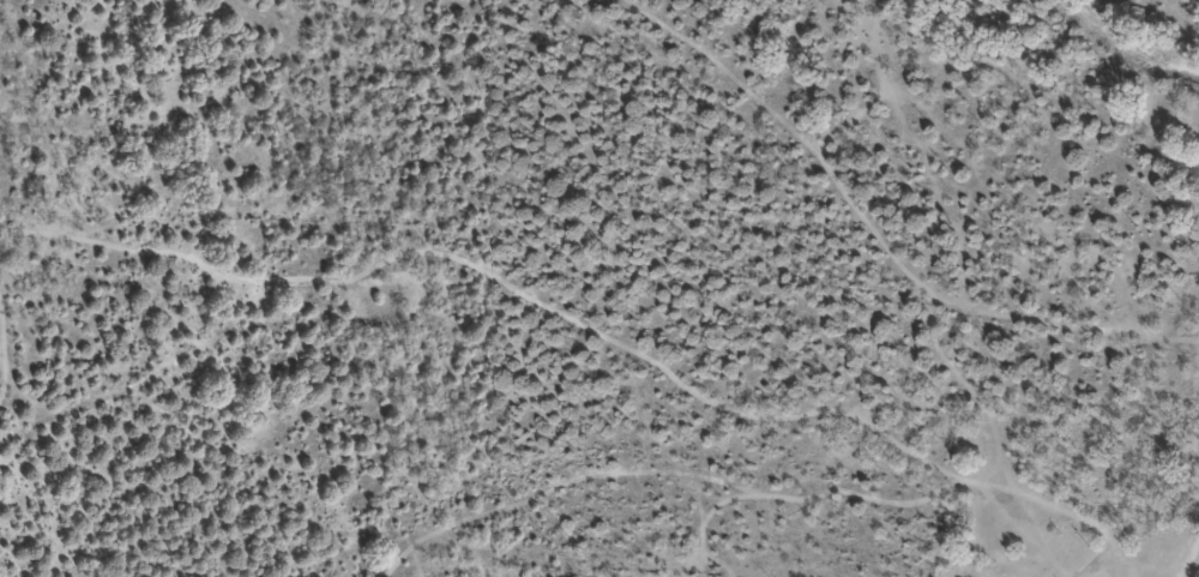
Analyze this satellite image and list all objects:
road: (787, 434)
building: (984, 443)

